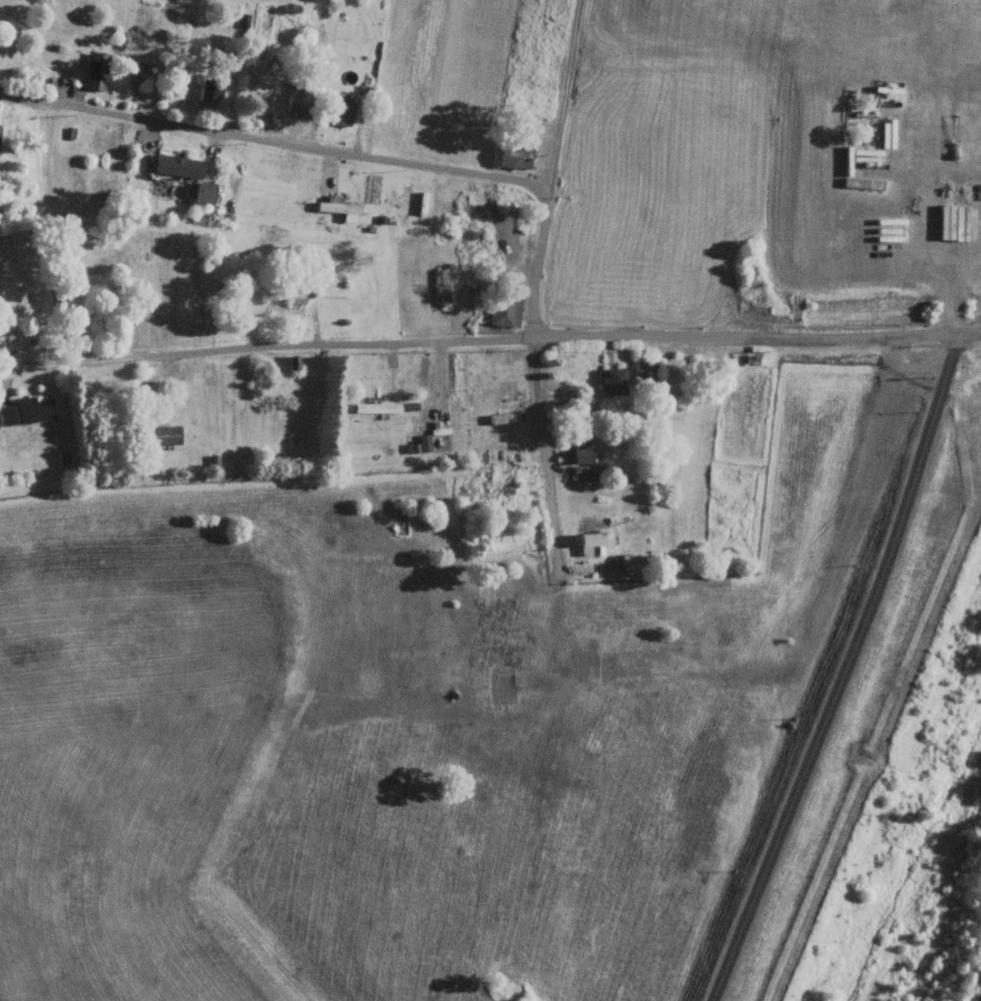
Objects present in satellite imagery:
building: (102, 70)
building: (1, 133)
road: (273, 140)
road: (538, 259)
road: (755, 338)
building: (12, 339)
road: (273, 345)
building: (28, 410)
building: (166, 433)
road: (542, 442)
road: (860, 674)

